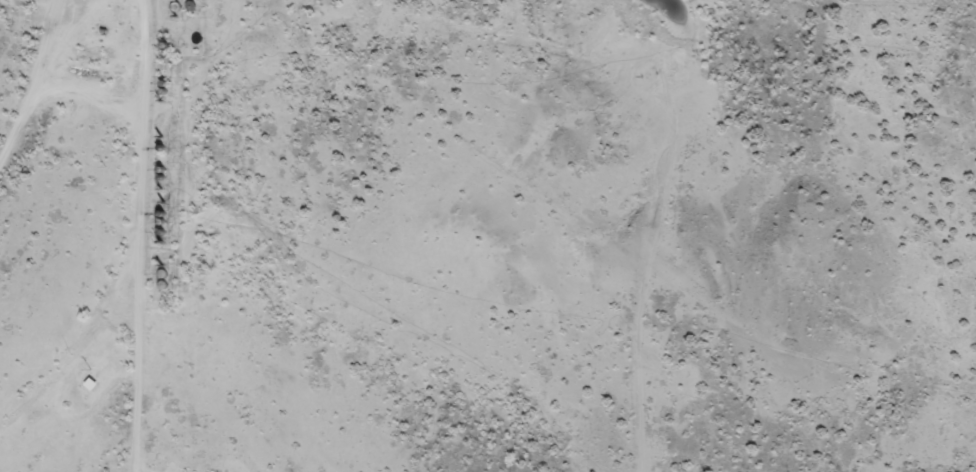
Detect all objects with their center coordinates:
road: (20, 63)

